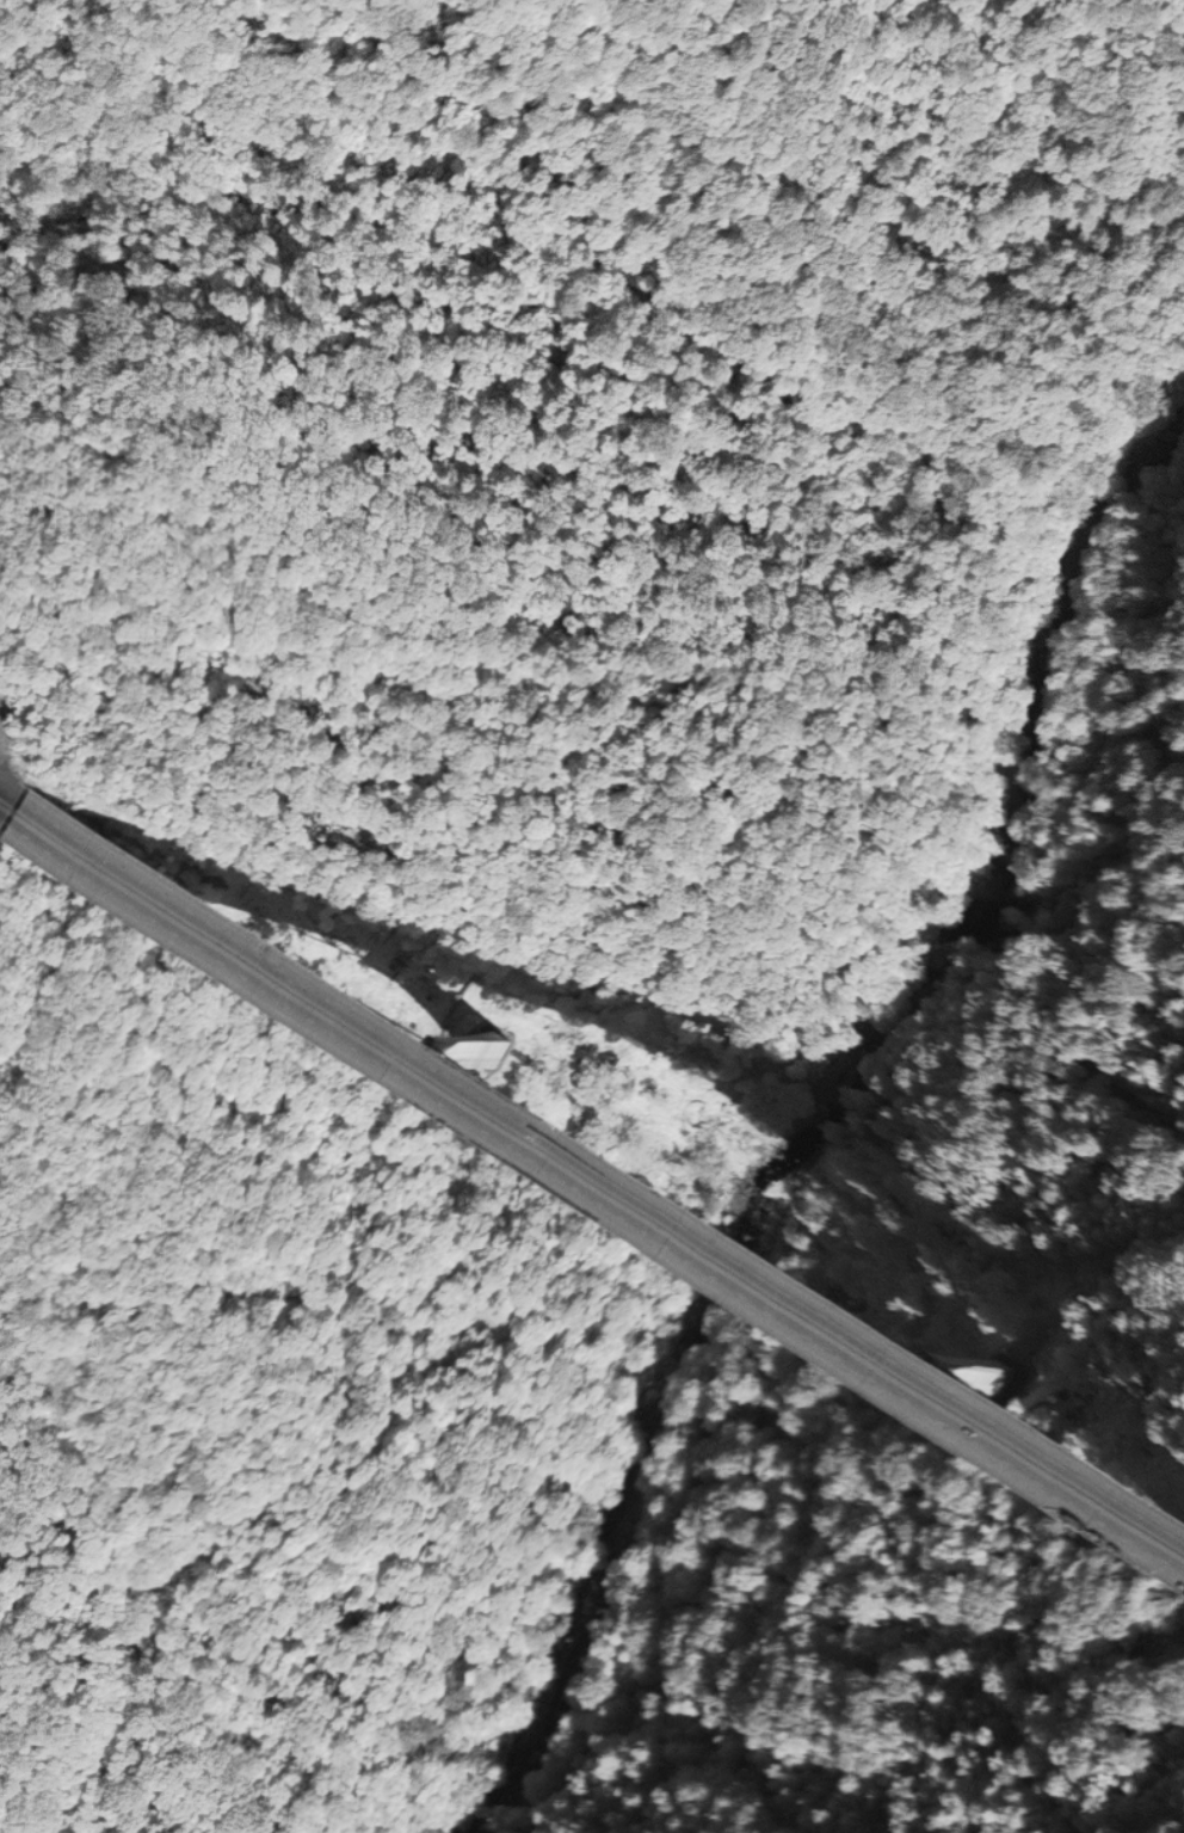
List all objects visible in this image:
road: (13, 792)
road: (5, 817)
road: (845, 1158)
road: (605, 1171)
road: (597, 1197)
road: (845, 1416)
building: (894, 1437)

